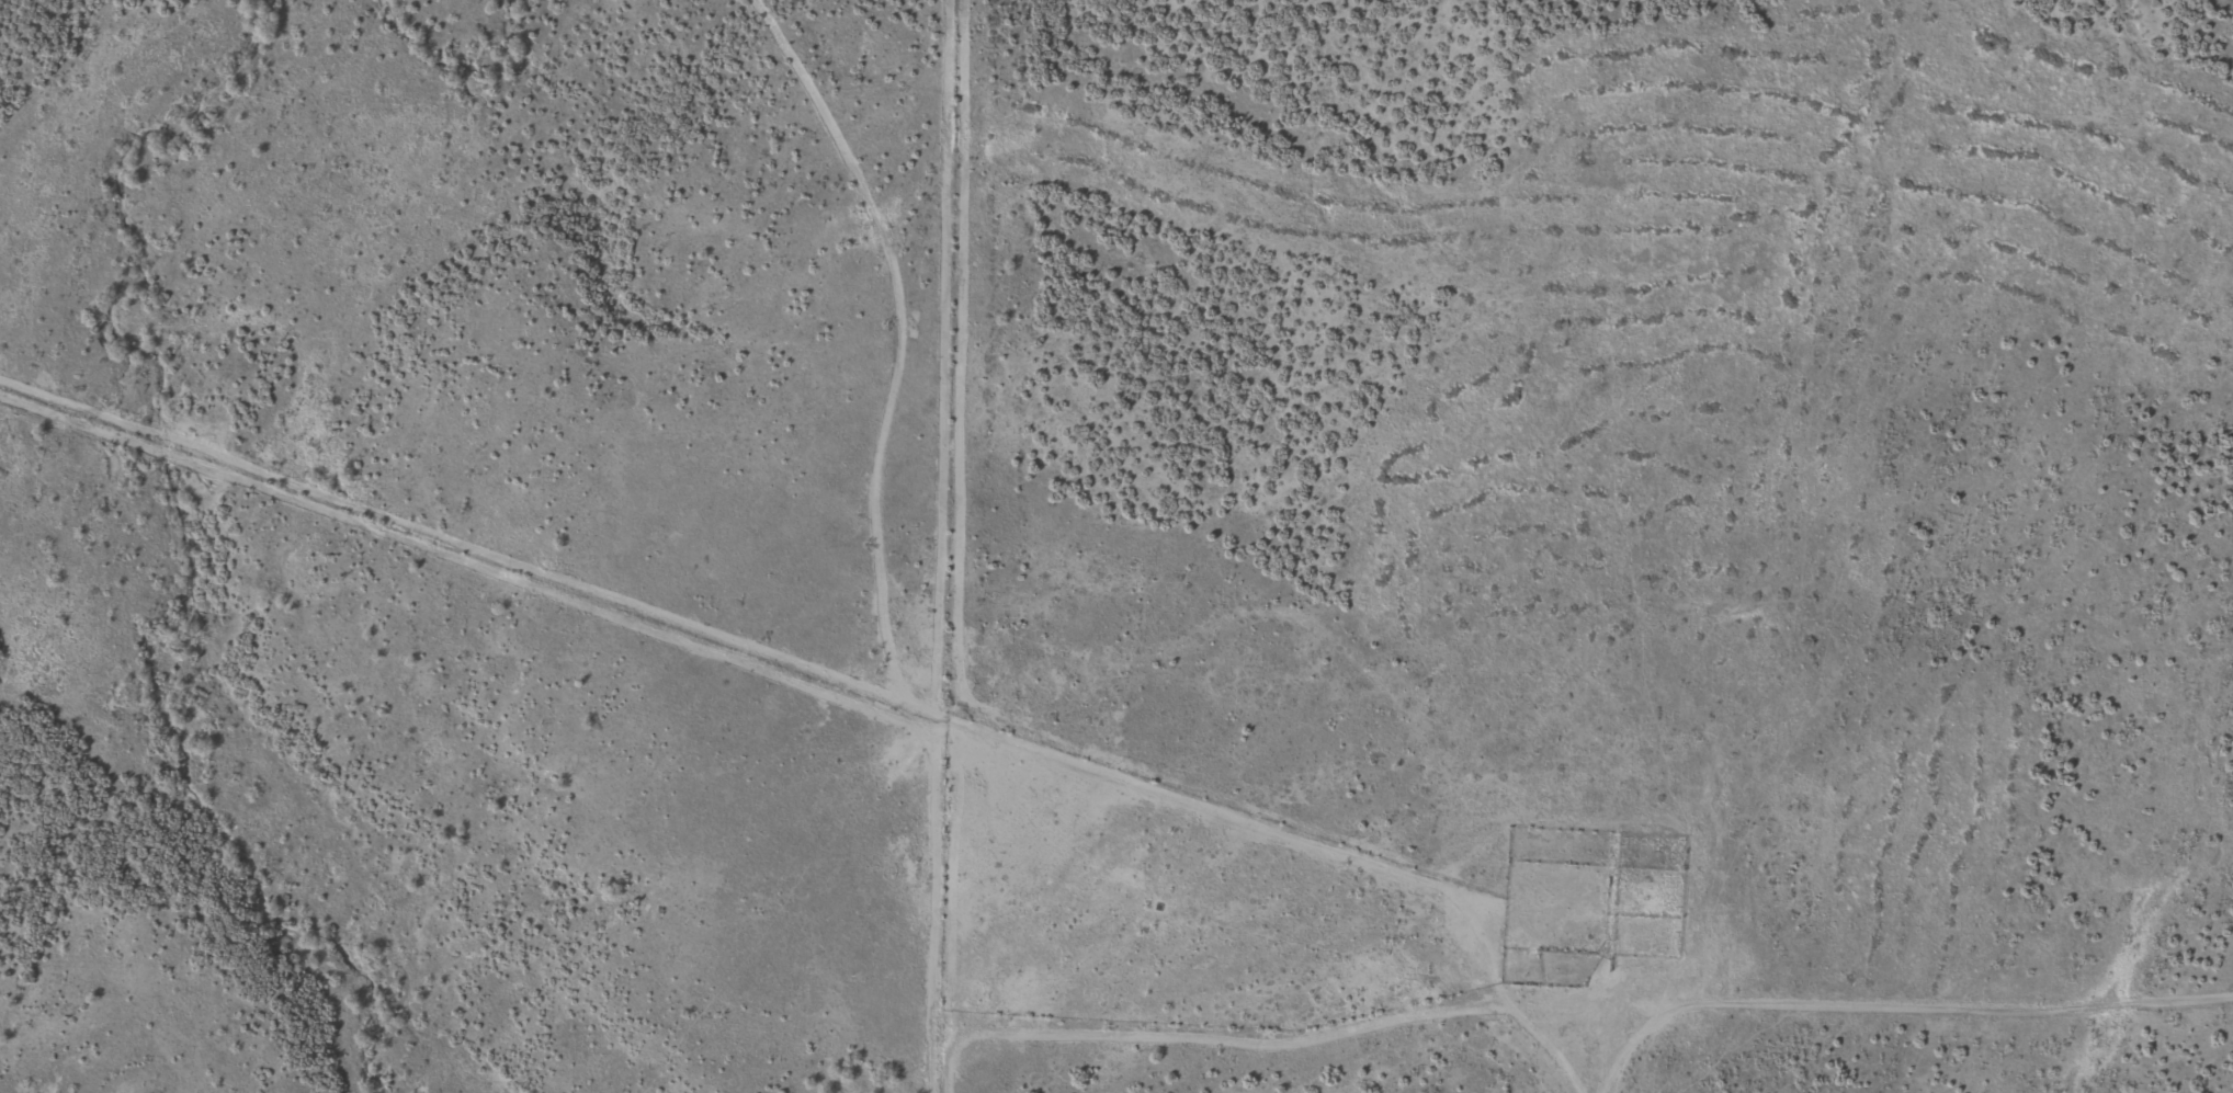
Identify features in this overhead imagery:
road: (1027, 714)

